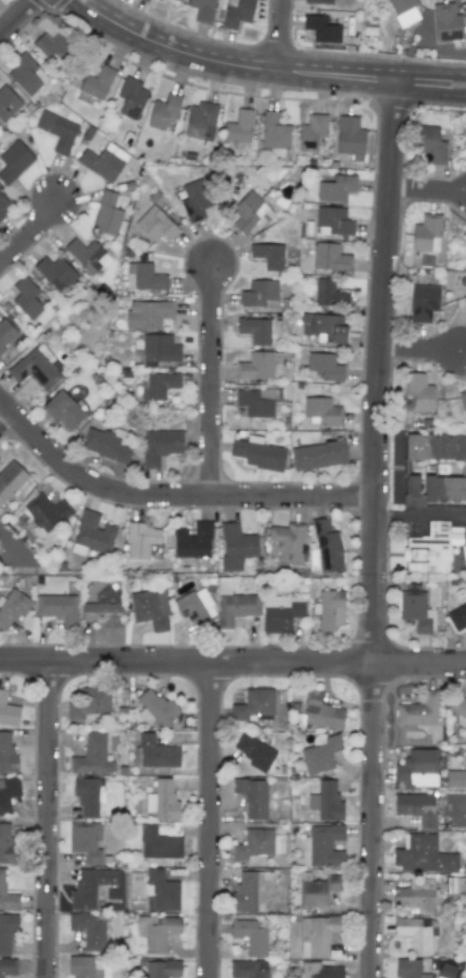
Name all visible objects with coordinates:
building: (160, 0)
building: (145, 1)
building: (319, 1)
building: (203, 10)
building: (403, 11)
building: (237, 12)
road: (18, 18)
building: (448, 24)
building: (322, 29)
road: (276, 35)
building: (52, 48)
road: (172, 50)
road: (370, 69)
building: (26, 75)
building: (97, 83)
road: (368, 89)
building: (131, 98)
building: (7, 103)
building: (163, 111)
building: (199, 119)
building: (238, 127)
building: (57, 131)
building: (274, 131)
building: (311, 132)
building: (350, 137)
building: (432, 145)
building: (14, 161)
building: (103, 161)
building: (336, 188)
road: (426, 191)
building: (194, 200)
building: (4, 206)
building: (107, 213)
building: (250, 213)
building: (333, 221)
building: (156, 224)
road: (31, 234)
building: (426, 234)
building: (87, 255)
building: (268, 255)
building: (330, 257)
building: (55, 272)
building: (148, 277)
building: (259, 293)
building: (329, 293)
building: (26, 297)
building: (465, 299)
building: (465, 300)
building: (423, 302)
building: (147, 314)
building: (323, 327)
building: (254, 329)
building: (6, 333)
building: (158, 349)
road: (418, 352)
building: (256, 366)
building: (325, 366)
building: (37, 367)
road: (212, 381)
building: (159, 385)
building: (418, 391)
building: (255, 402)
building: (463, 402)
building: (63, 410)
building: (322, 412)
road: (5, 418)
building: (159, 446)
building: (435, 447)
building: (258, 453)
building: (318, 454)
building: (10, 479)
building: (411, 486)
building: (445, 489)
road: (169, 496)
building: (46, 512)
road: (420, 515)
road: (373, 523)
building: (92, 535)
building: (141, 540)
building: (193, 541)
building: (287, 541)
building: (236, 546)
building: (328, 546)
building: (431, 549)
building: (234, 605)
building: (12, 608)
building: (58, 608)
building: (150, 608)
building: (196, 608)
building: (330, 610)
building: (416, 611)
building: (279, 613)
building: (102, 614)
building: (458, 617)
road: (233, 662)
building: (89, 704)
building: (254, 704)
building: (156, 708)
building: (8, 710)
building: (419, 710)
building: (458, 710)
building: (322, 712)
building: (156, 752)
building: (254, 752)
building: (7, 754)
building: (320, 754)
building: (92, 755)
building: (417, 768)
building: (455, 779)
building: (8, 793)
building: (87, 796)
building: (252, 797)
building: (165, 800)
building: (326, 801)
building: (416, 807)
road: (48, 819)
road: (208, 820)
building: (84, 842)
building: (159, 844)
building: (254, 844)
building: (6, 845)
building: (325, 845)
building: (426, 854)
building: (90, 887)
building: (316, 889)
building: (162, 891)
building: (248, 892)
building: (7, 895)
building: (417, 895)
building: (432, 927)
building: (88, 930)
building: (7, 931)
building: (157, 931)
building: (318, 934)
building: (251, 935)
building: (414, 935)
building: (7, 967)
building: (82, 967)
building: (163, 968)
building: (248, 968)
building: (409, 969)
building: (327, 972)

